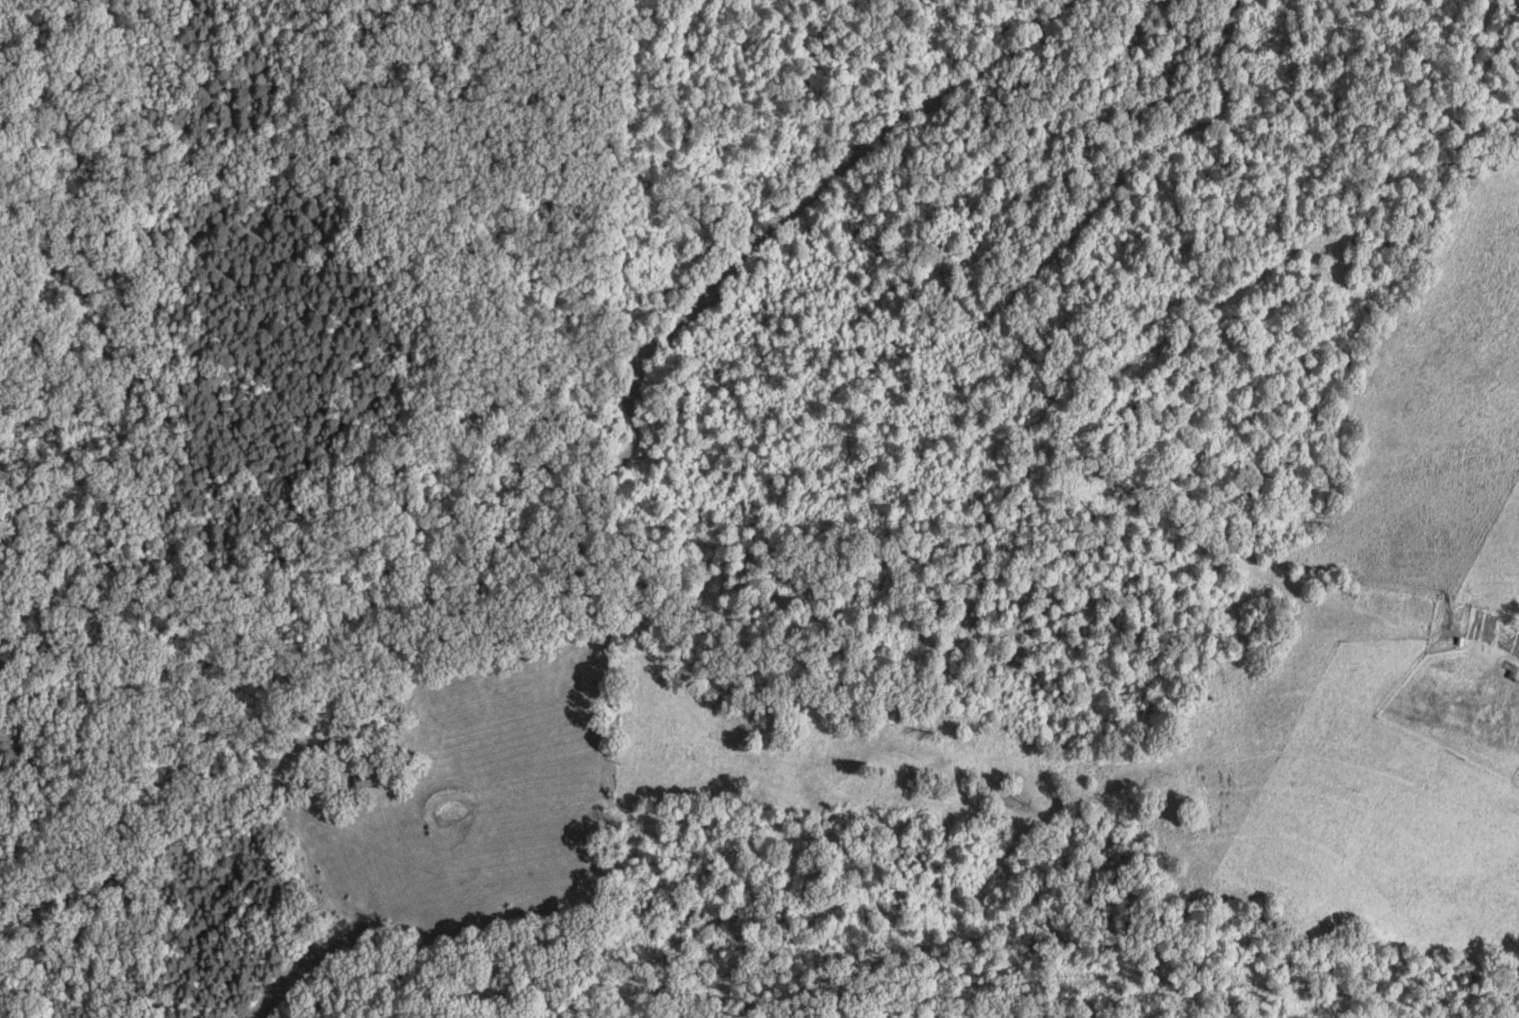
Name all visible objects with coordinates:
building: (361, 782)

